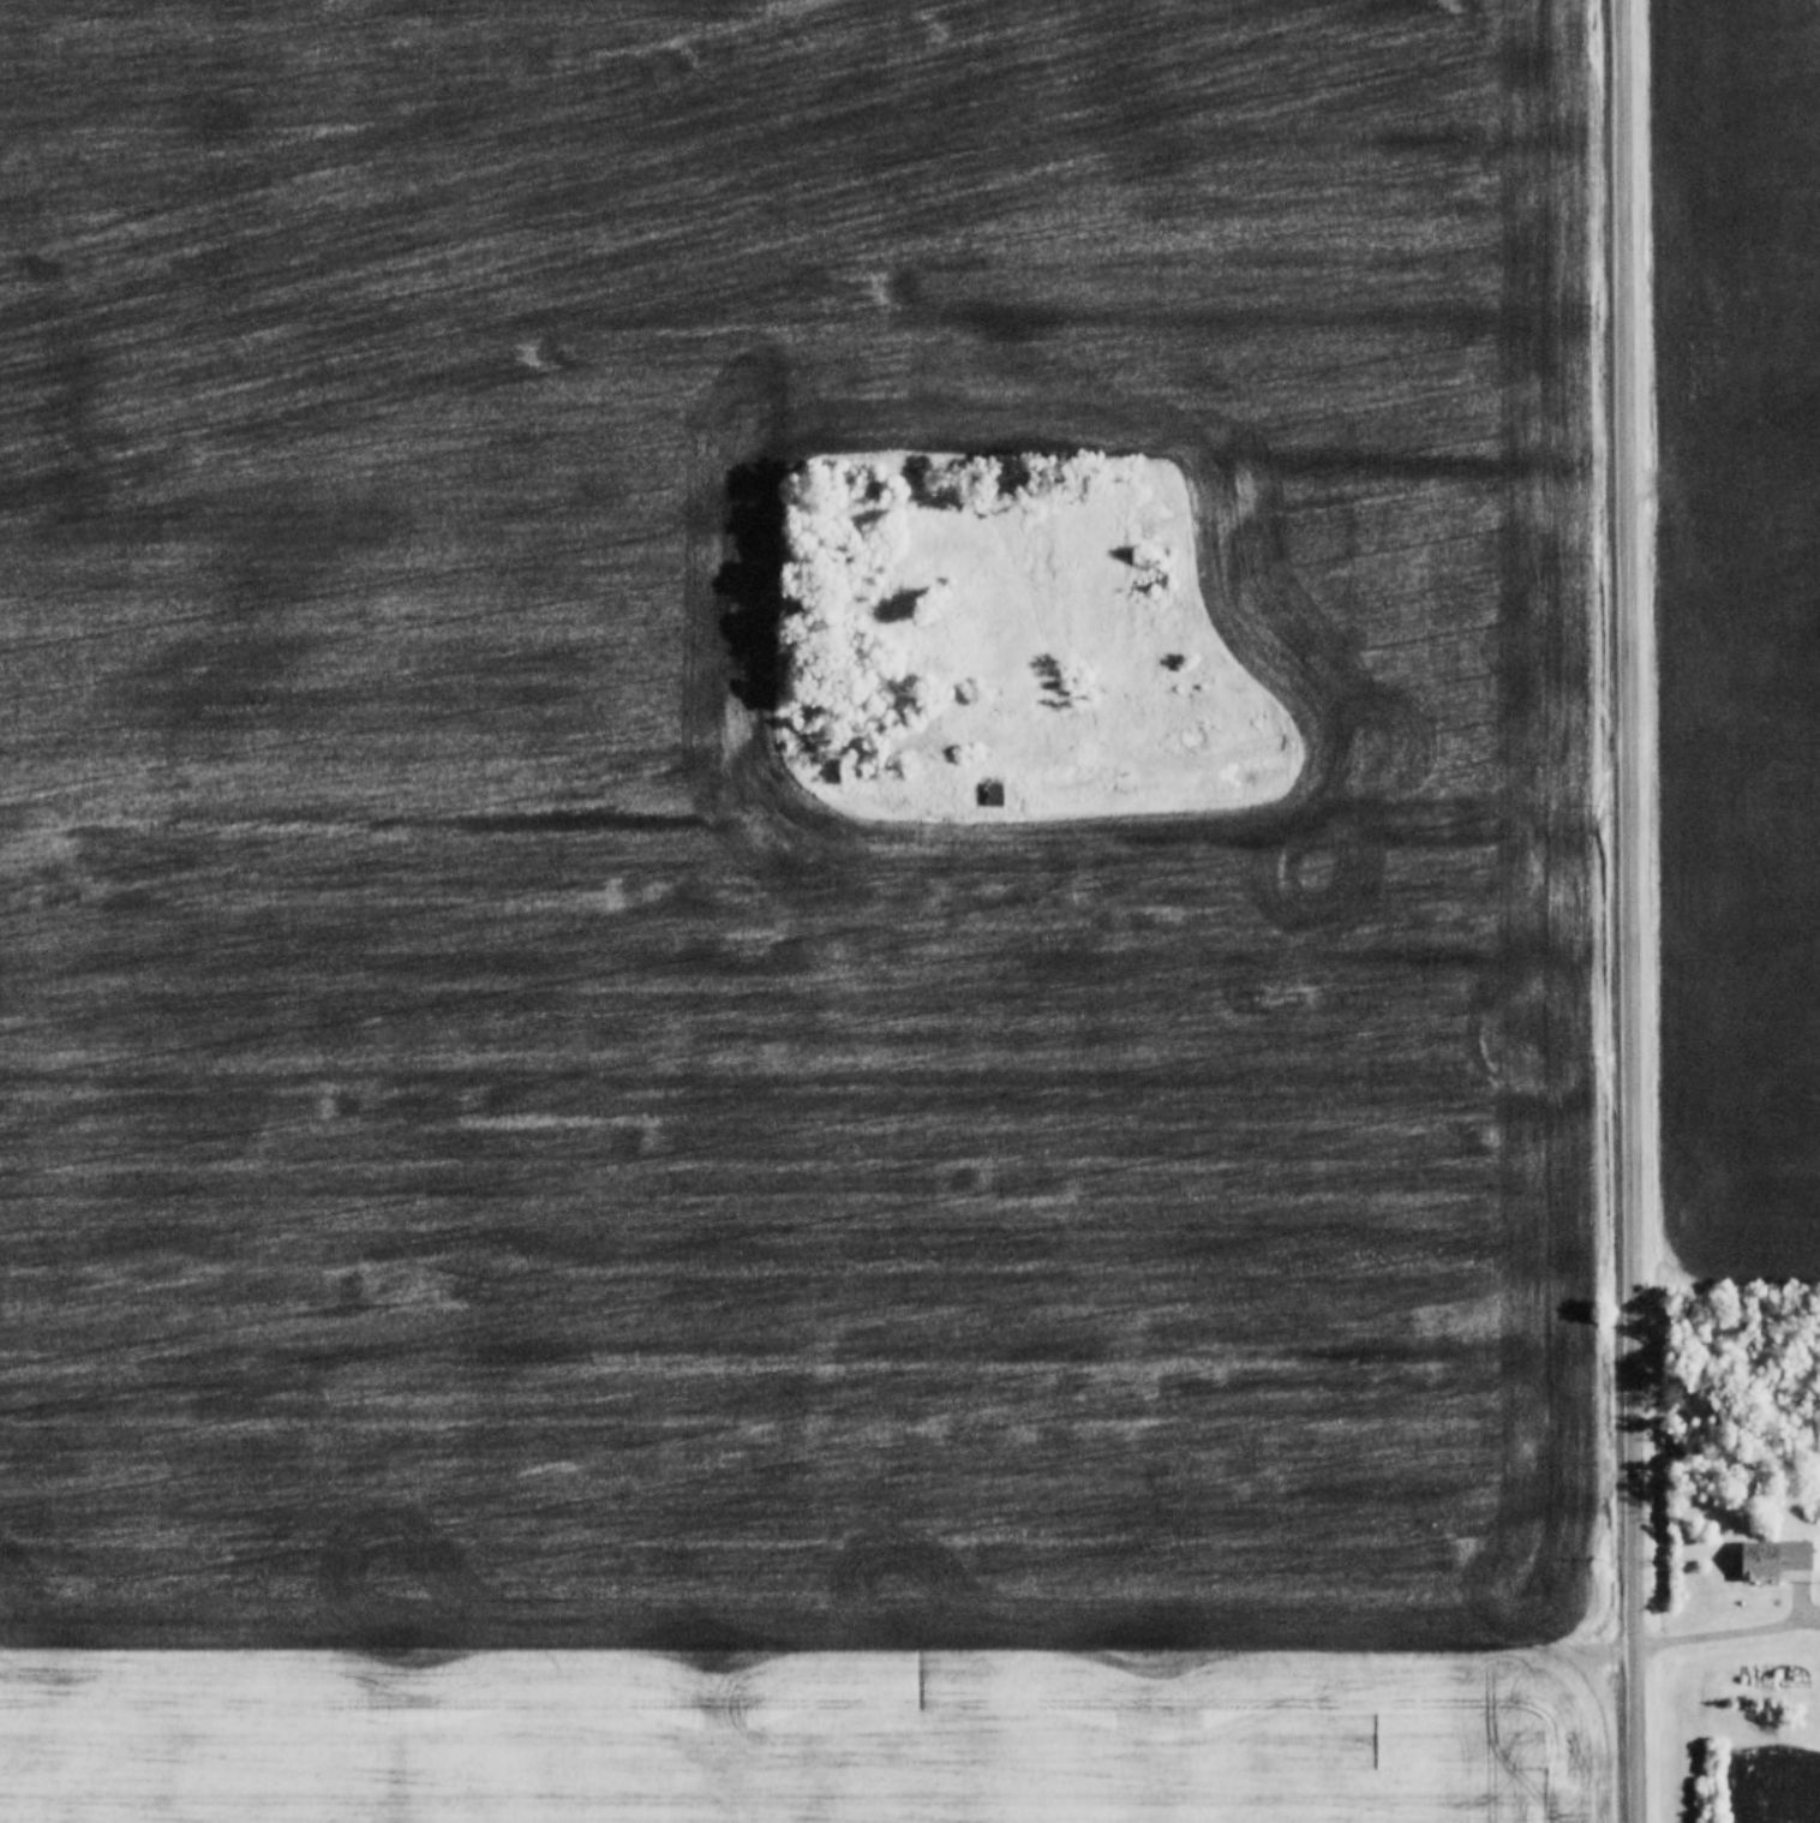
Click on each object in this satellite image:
crop: (1740, 623)
crop: (803, 831)
road: (1632, 910)
road: (1729, 1628)
crop: (802, 1743)
crop: (1780, 1783)

